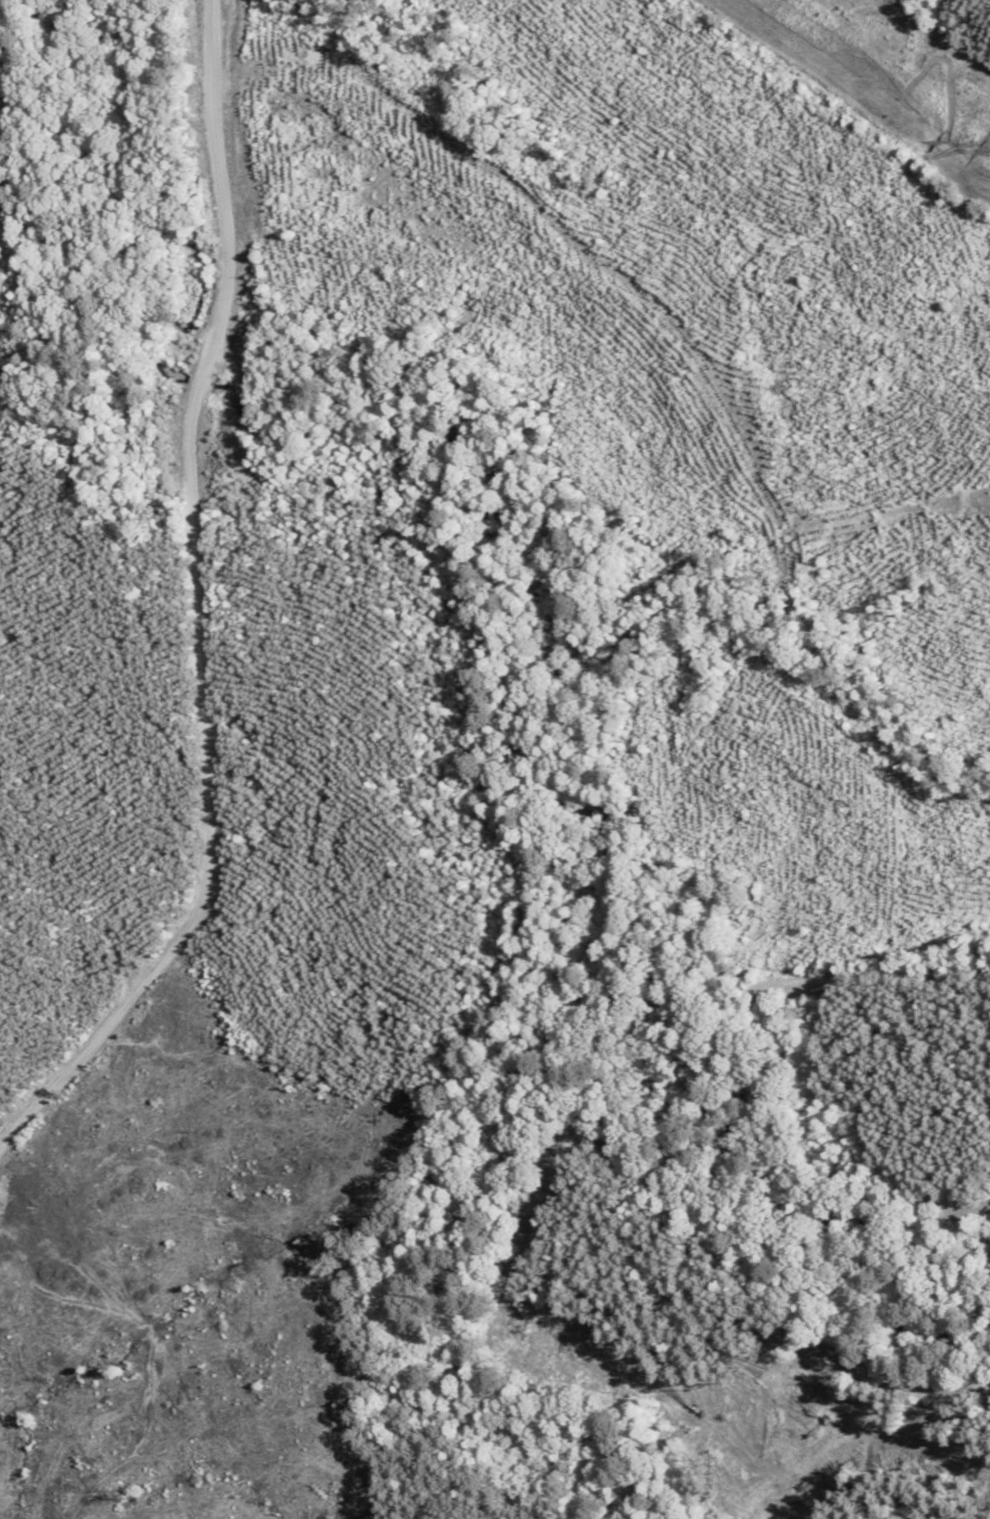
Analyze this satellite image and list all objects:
road: (192, 619)

